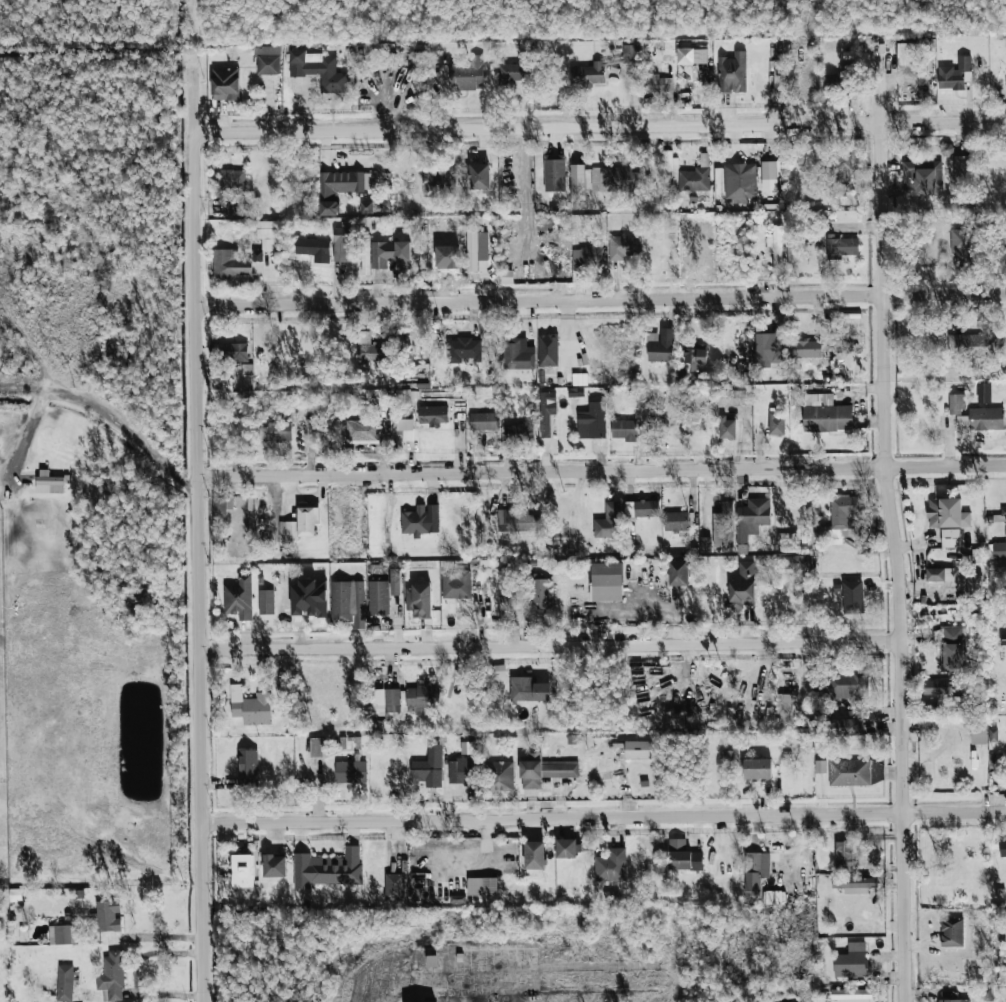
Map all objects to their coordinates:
building: (629, 54)
building: (906, 54)
building: (691, 56)
building: (266, 60)
building: (317, 70)
building: (512, 73)
building: (732, 73)
building: (466, 74)
building: (590, 74)
building: (953, 74)
building: (224, 84)
building: (657, 84)
road: (598, 127)
building: (841, 169)
building: (554, 172)
building: (962, 172)
building: (768, 175)
building: (479, 178)
building: (921, 178)
building: (615, 179)
building: (232, 180)
building: (693, 180)
building: (578, 181)
building: (739, 182)
building: (433, 183)
building: (337, 189)
building: (366, 207)
building: (267, 233)
building: (340, 244)
building: (960, 245)
building: (623, 247)
building: (777, 247)
building: (840, 247)
building: (314, 248)
building: (472, 248)
building: (383, 253)
building: (366, 255)
building: (586, 257)
building: (230, 264)
building: (506, 277)
road: (599, 299)
building: (970, 346)
building: (662, 347)
building: (369, 349)
building: (805, 349)
building: (462, 350)
building: (547, 350)
building: (763, 350)
building: (231, 351)
building: (517, 354)
building: (695, 355)
building: (983, 393)
building: (735, 397)
building: (955, 404)
building: (546, 412)
building: (825, 414)
road: (110, 415)
building: (433, 416)
building: (985, 419)
building: (484, 421)
building: (592, 421)
building: (776, 424)
building: (405, 428)
building: (727, 428)
building: (623, 430)
building: (276, 431)
building: (361, 431)
building: (519, 432)
road: (24, 434)
road: (600, 470)
building: (48, 478)
building: (646, 508)
building: (946, 513)
building: (751, 518)
building: (843, 519)
building: (420, 520)
building: (517, 521)
building: (675, 521)
building: (608, 522)
building: (1004, 523)
building: (300, 525)
building: (722, 527)
road: (197, 534)
building: (950, 538)
building: (999, 551)
road: (893, 562)
building: (795, 565)
building: (678, 573)
building: (939, 574)
building: (395, 581)
building: (606, 582)
building: (456, 585)
building: (742, 586)
building: (540, 592)
building: (309, 597)
building: (378, 597)
building: (852, 597)
building: (239, 598)
building: (419, 601)
building: (266, 602)
building: (347, 603)
road: (546, 646)
building: (953, 648)
building: (847, 684)
building: (935, 687)
building: (529, 690)
building: (421, 697)
building: (387, 700)
building: (251, 707)
building: (784, 709)
building: (852, 727)
building: (978, 731)
building: (316, 747)
building: (637, 750)
building: (247, 768)
building: (428, 768)
building: (757, 769)
building: (544, 770)
building: (460, 771)
building: (350, 772)
building: (848, 772)
building: (876, 772)
building: (500, 776)
road: (603, 817)
building: (1002, 848)
building: (567, 849)
building: (534, 855)
building: (844, 856)
building: (683, 857)
building: (274, 866)
building: (611, 866)
building: (328, 869)
building: (242, 871)
building: (755, 872)
building: (854, 884)
building: (394, 887)
building: (481, 887)
building: (108, 916)
building: (951, 932)
building: (61, 935)
road: (156, 936)
building: (852, 961)
building: (112, 976)
road: (447, 980)
building: (64, 983)
building: (851, 994)
building: (953, 1000)

